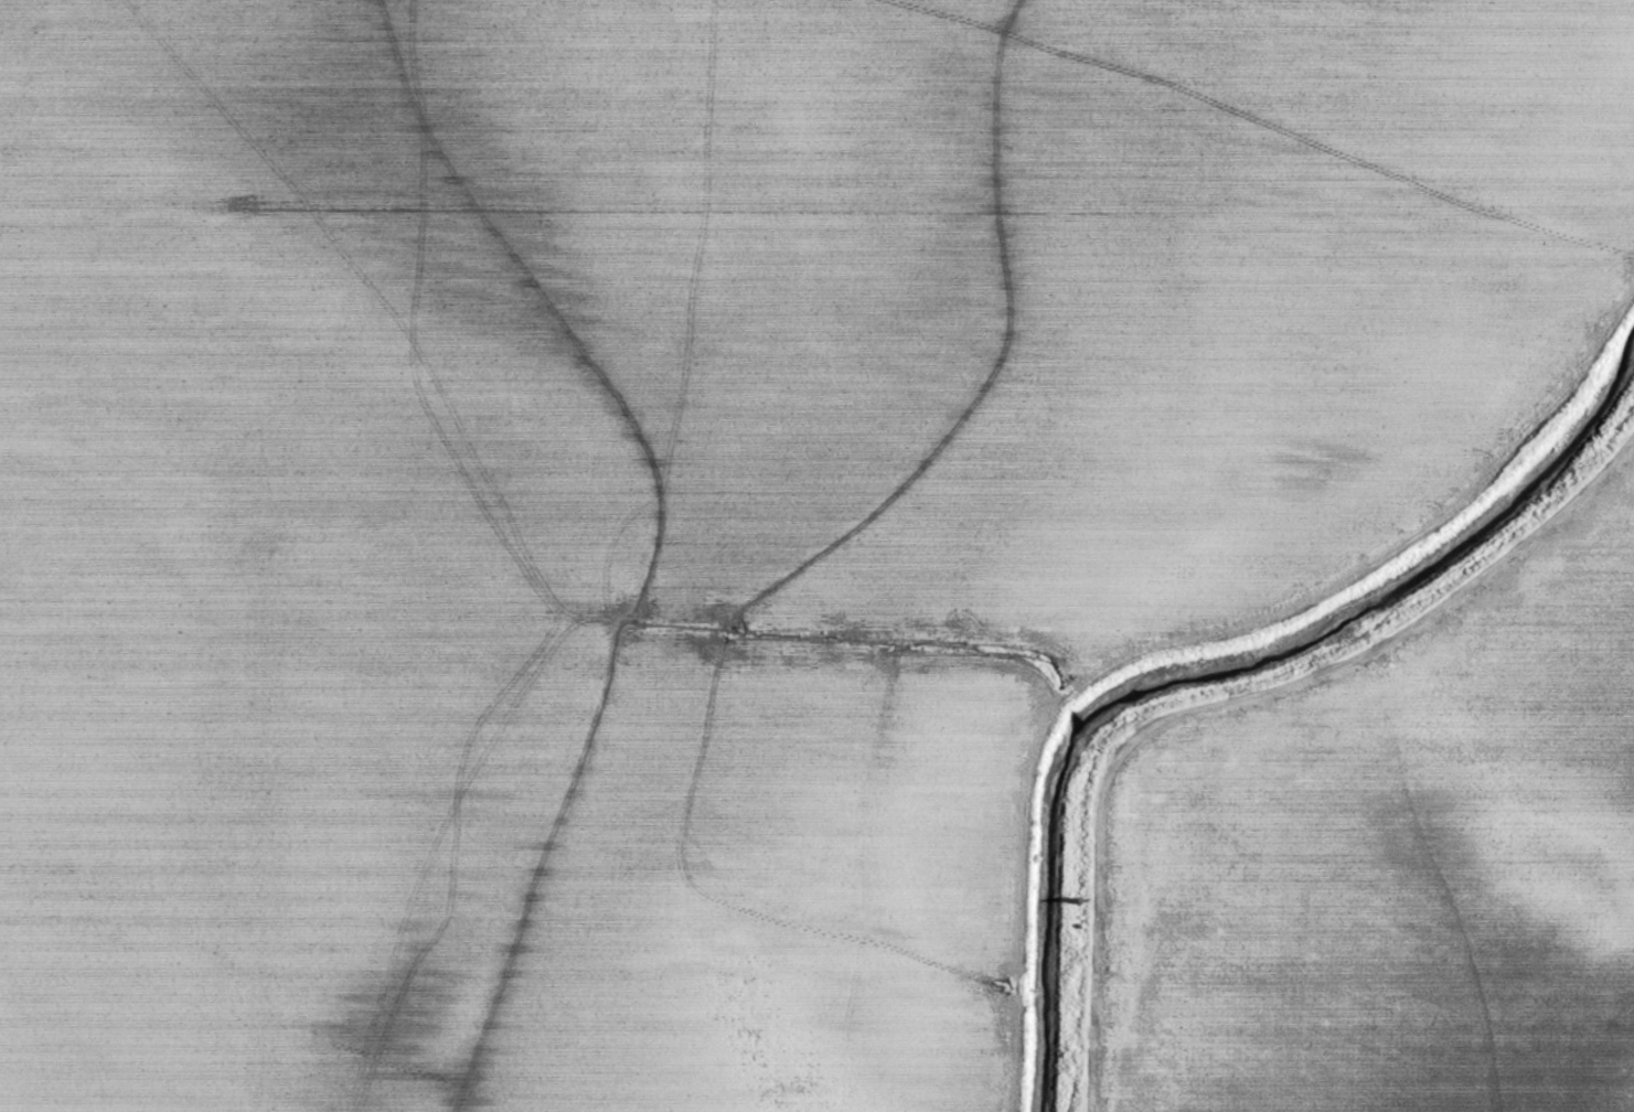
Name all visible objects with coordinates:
road: (1245, 709)

